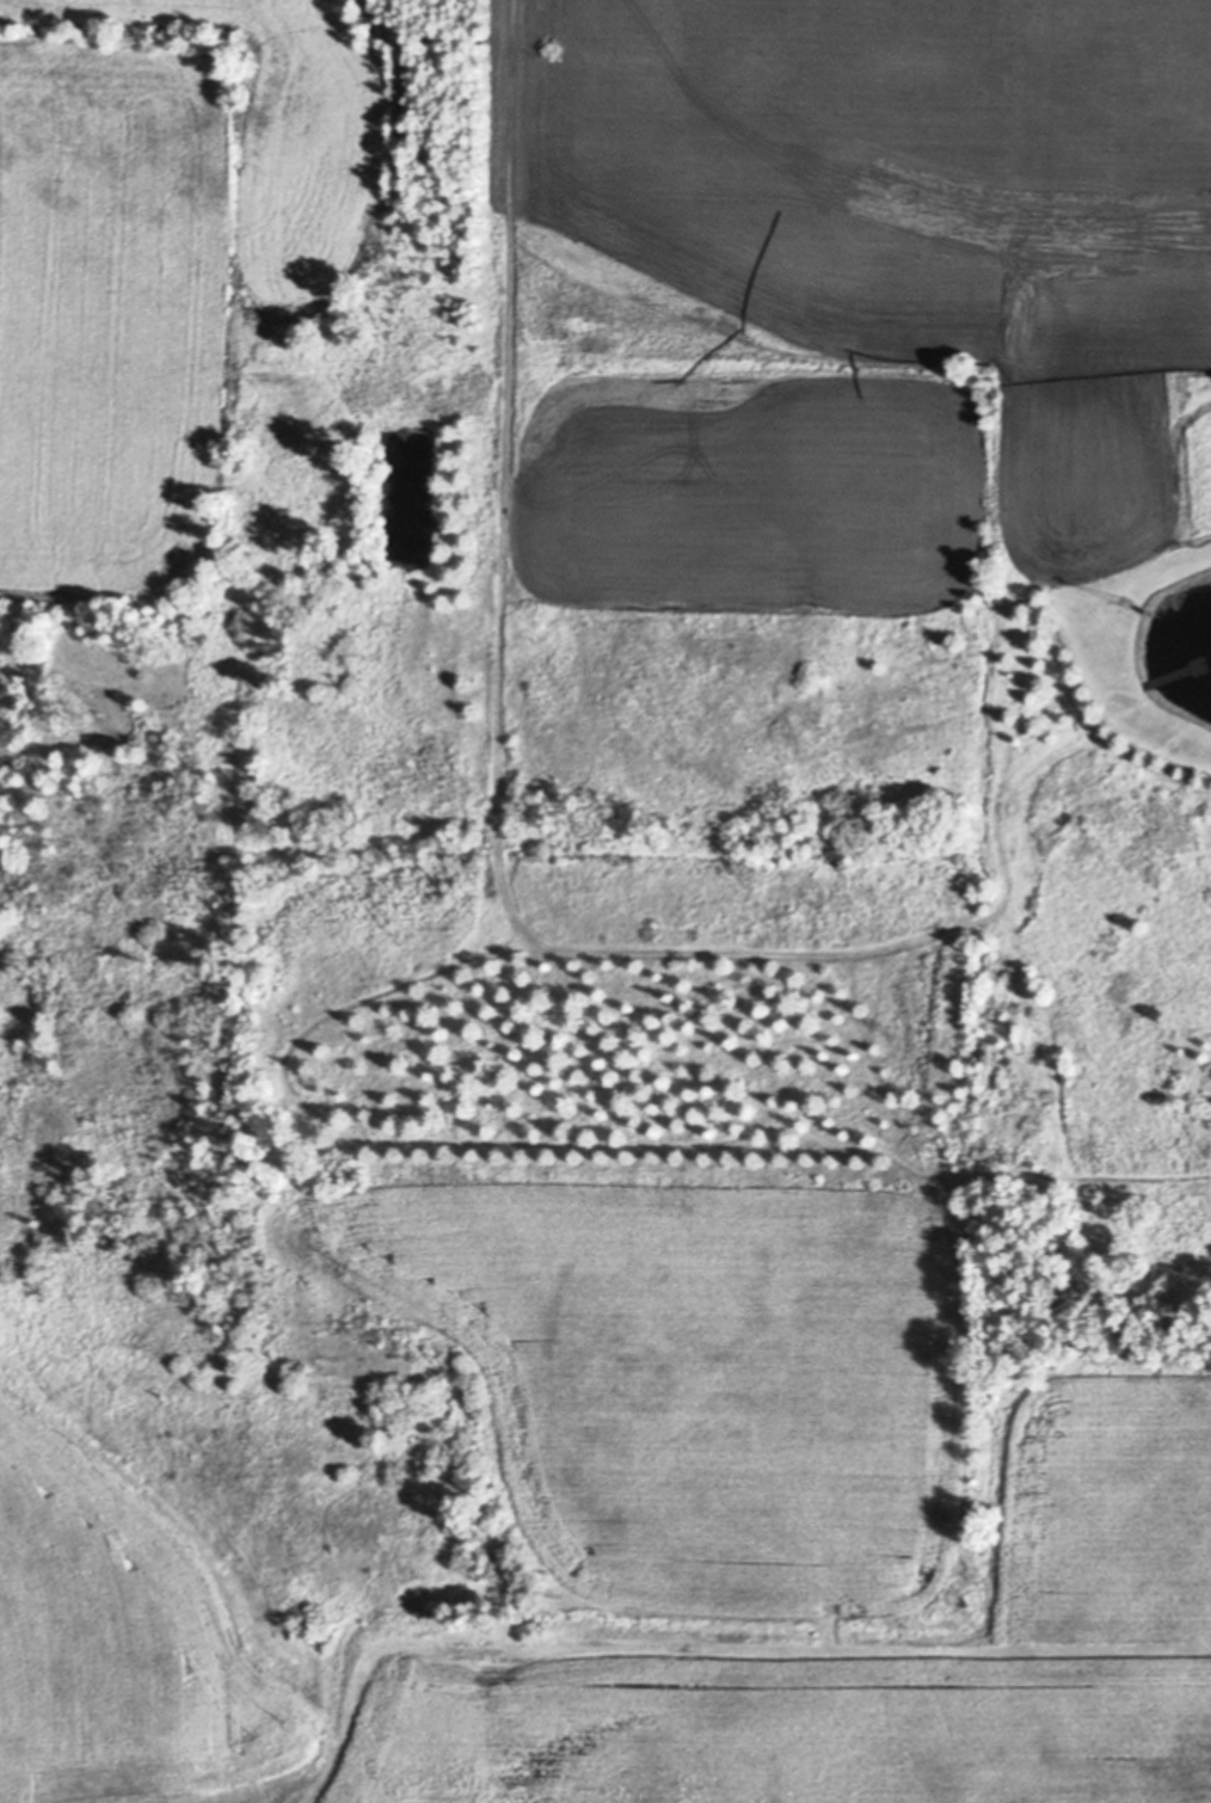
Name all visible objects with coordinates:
crop: (158, 247)
crop: (678, 1538)

